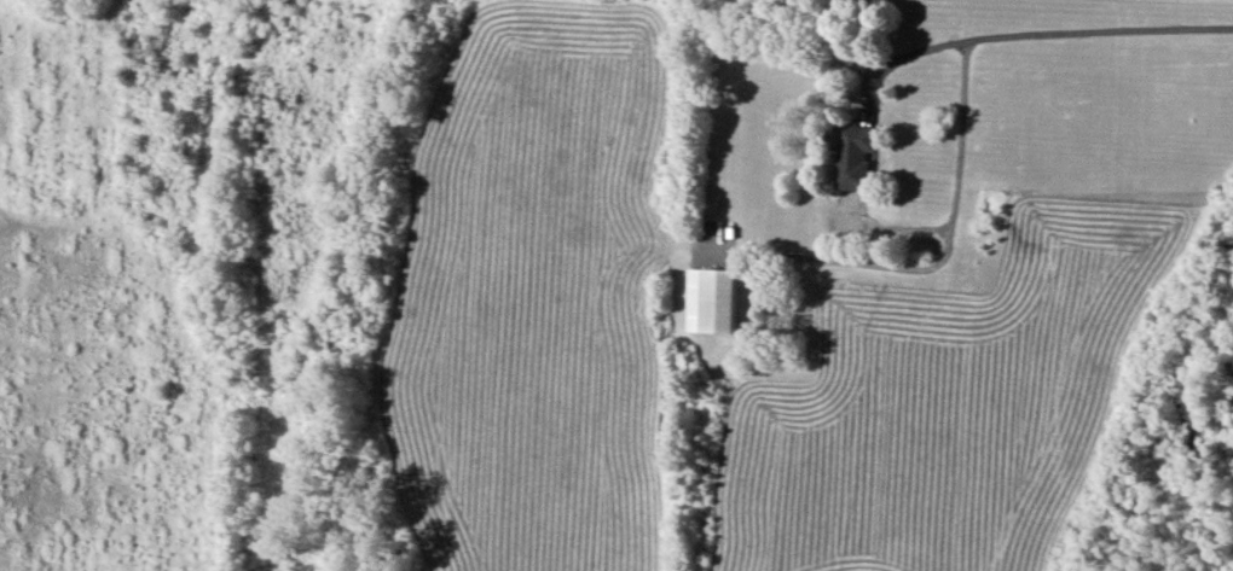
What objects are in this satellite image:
road: (1046, 22)
building: (858, 157)
road: (950, 204)
building: (714, 301)

